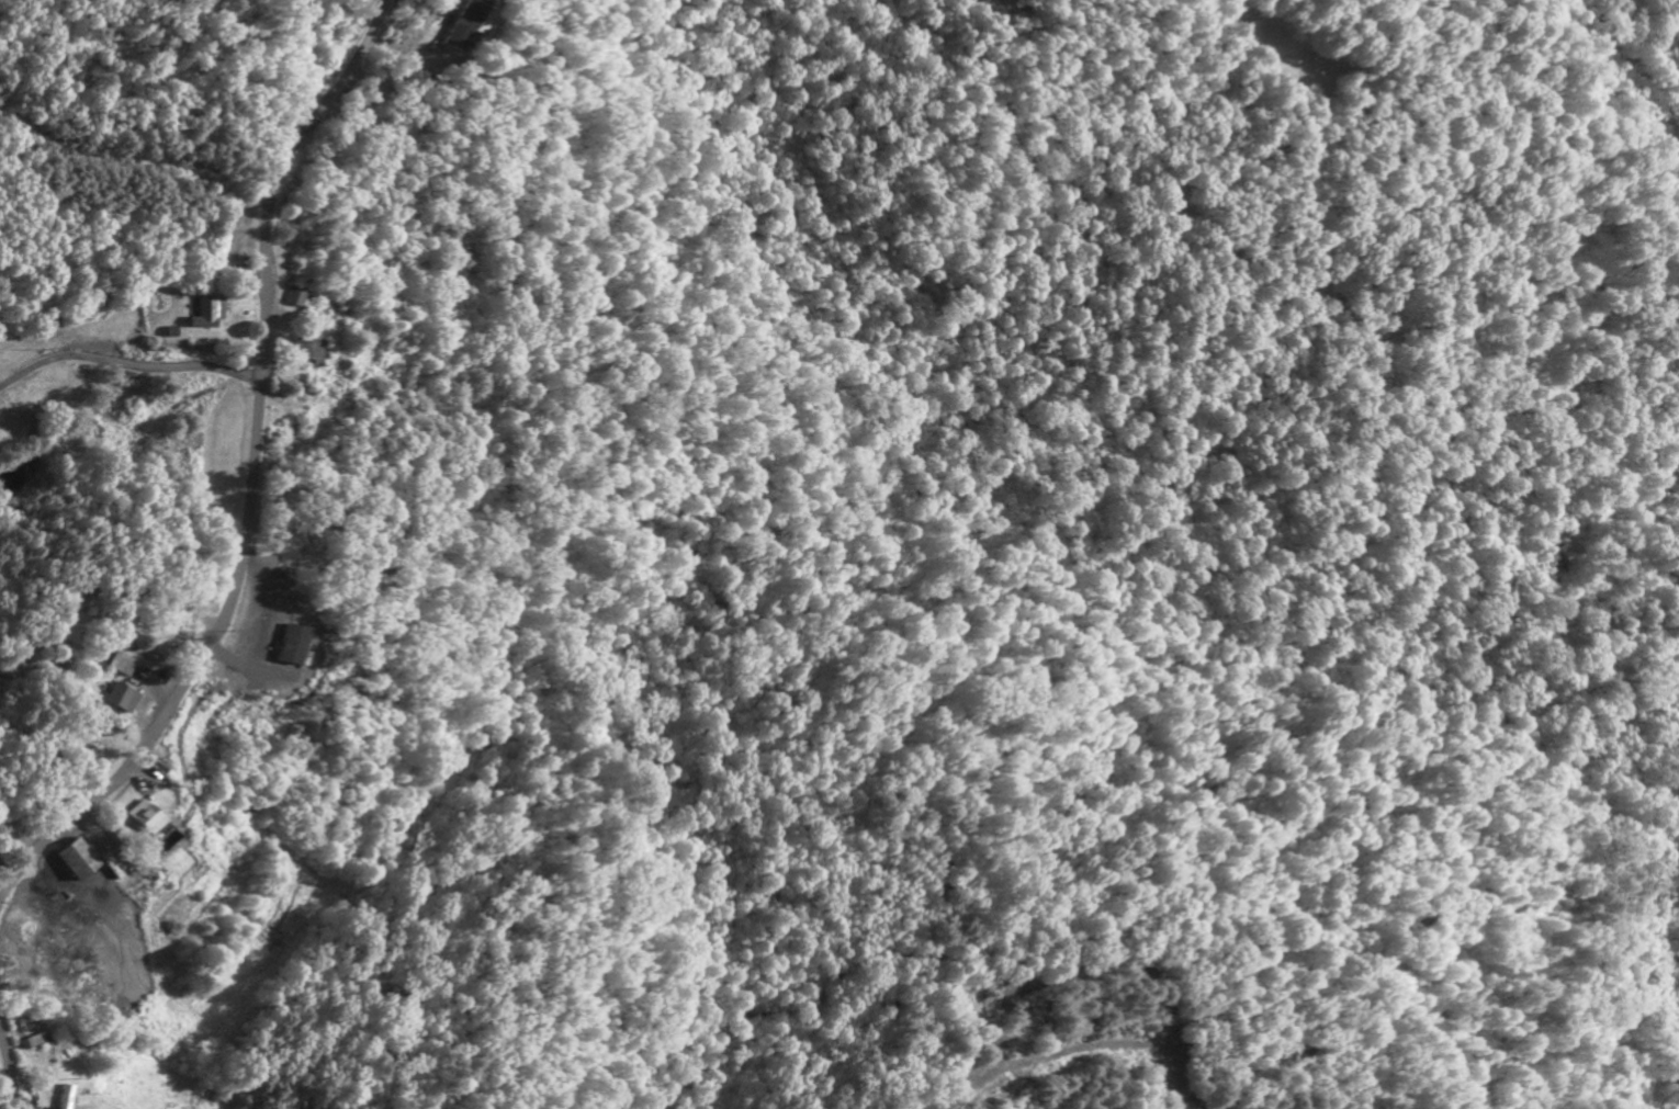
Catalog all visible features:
building: (467, 25)
building: (207, 316)
building: (309, 355)
road: (126, 366)
road: (250, 474)
park: (159, 619)
building: (290, 646)
building: (123, 665)
building: (123, 699)
building: (142, 819)
building: (76, 861)
building: (27, 1045)
road: (8, 1072)
building: (64, 1099)

